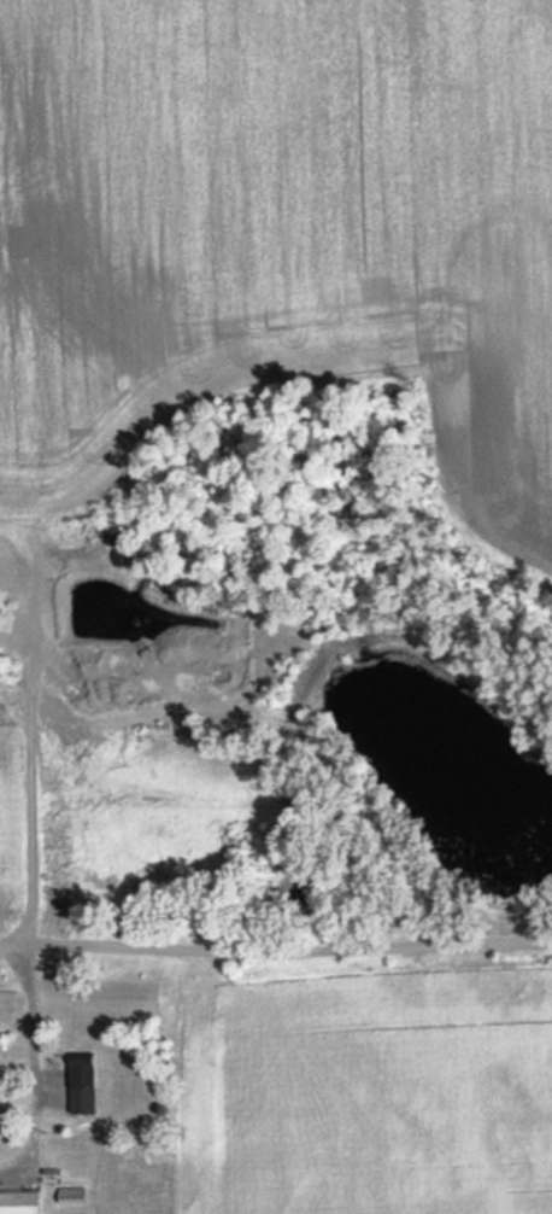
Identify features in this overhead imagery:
road: (275, 955)
building: (81, 1086)
building: (136, 1162)
building: (18, 1201)

